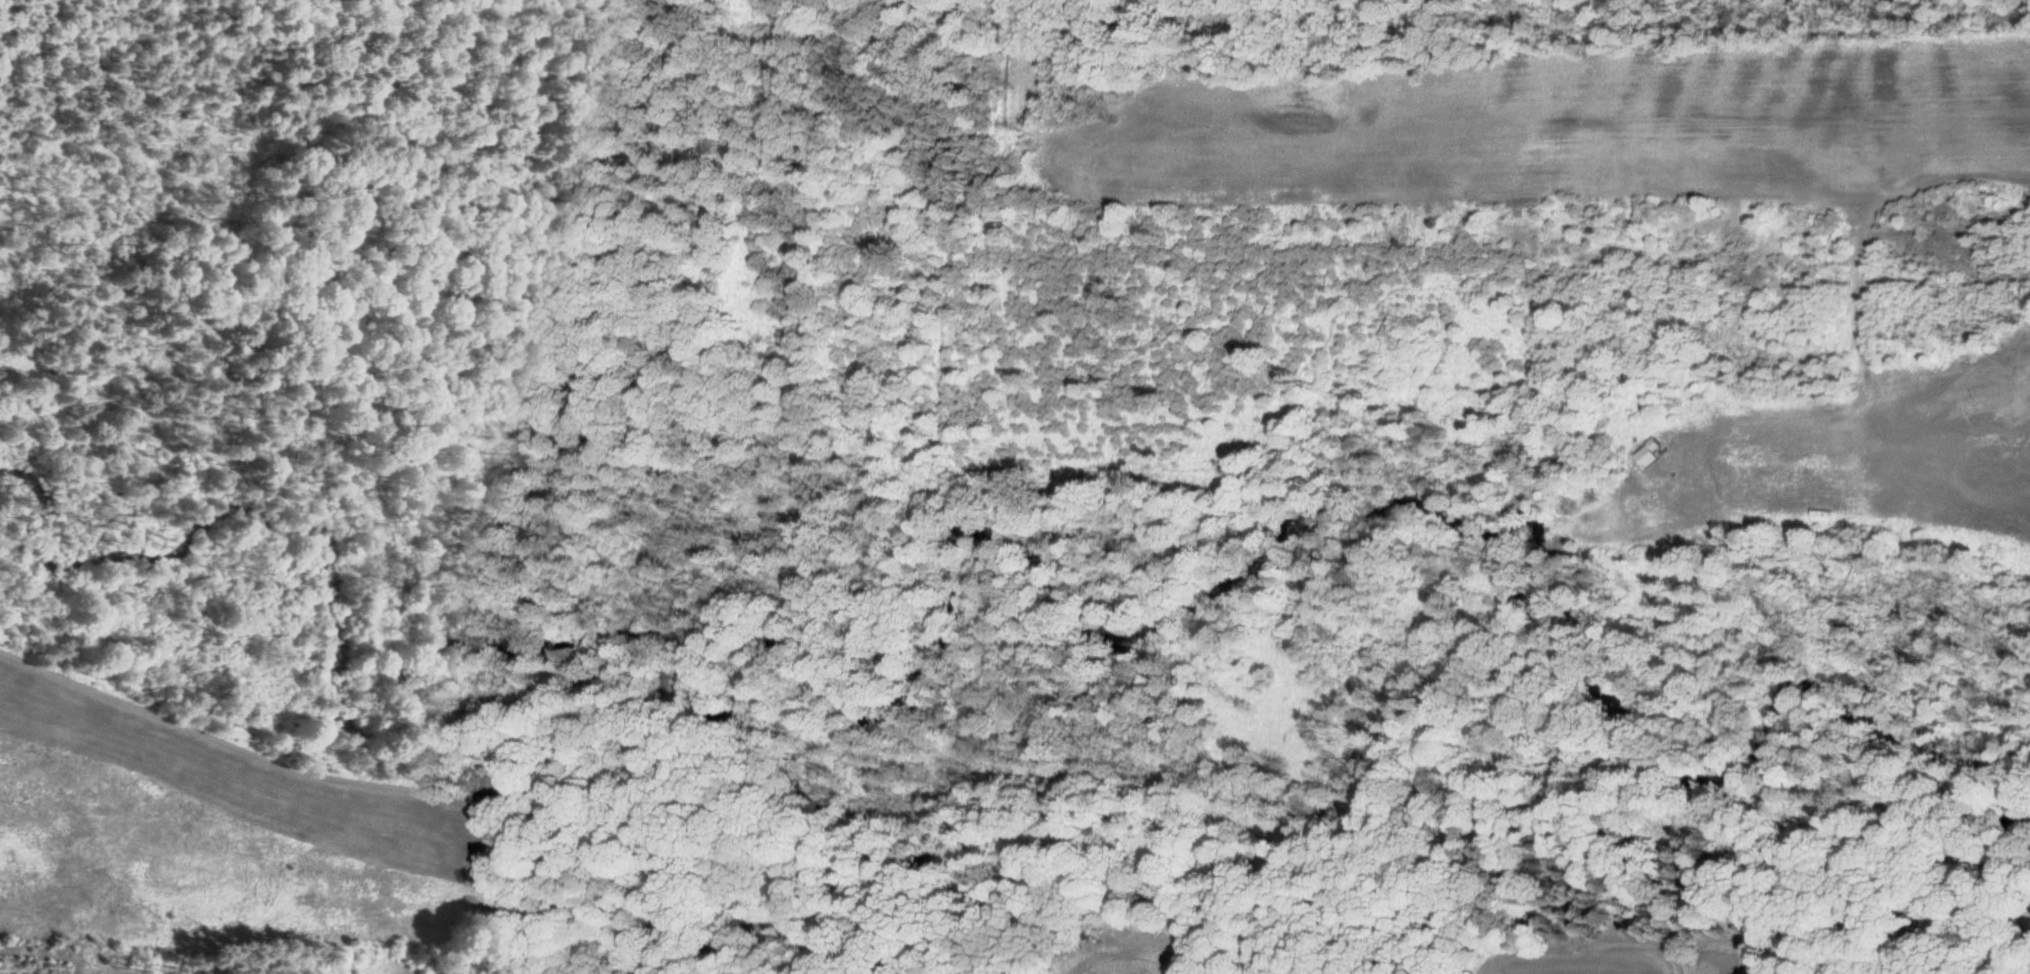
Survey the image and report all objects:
building: (1691, 490)

